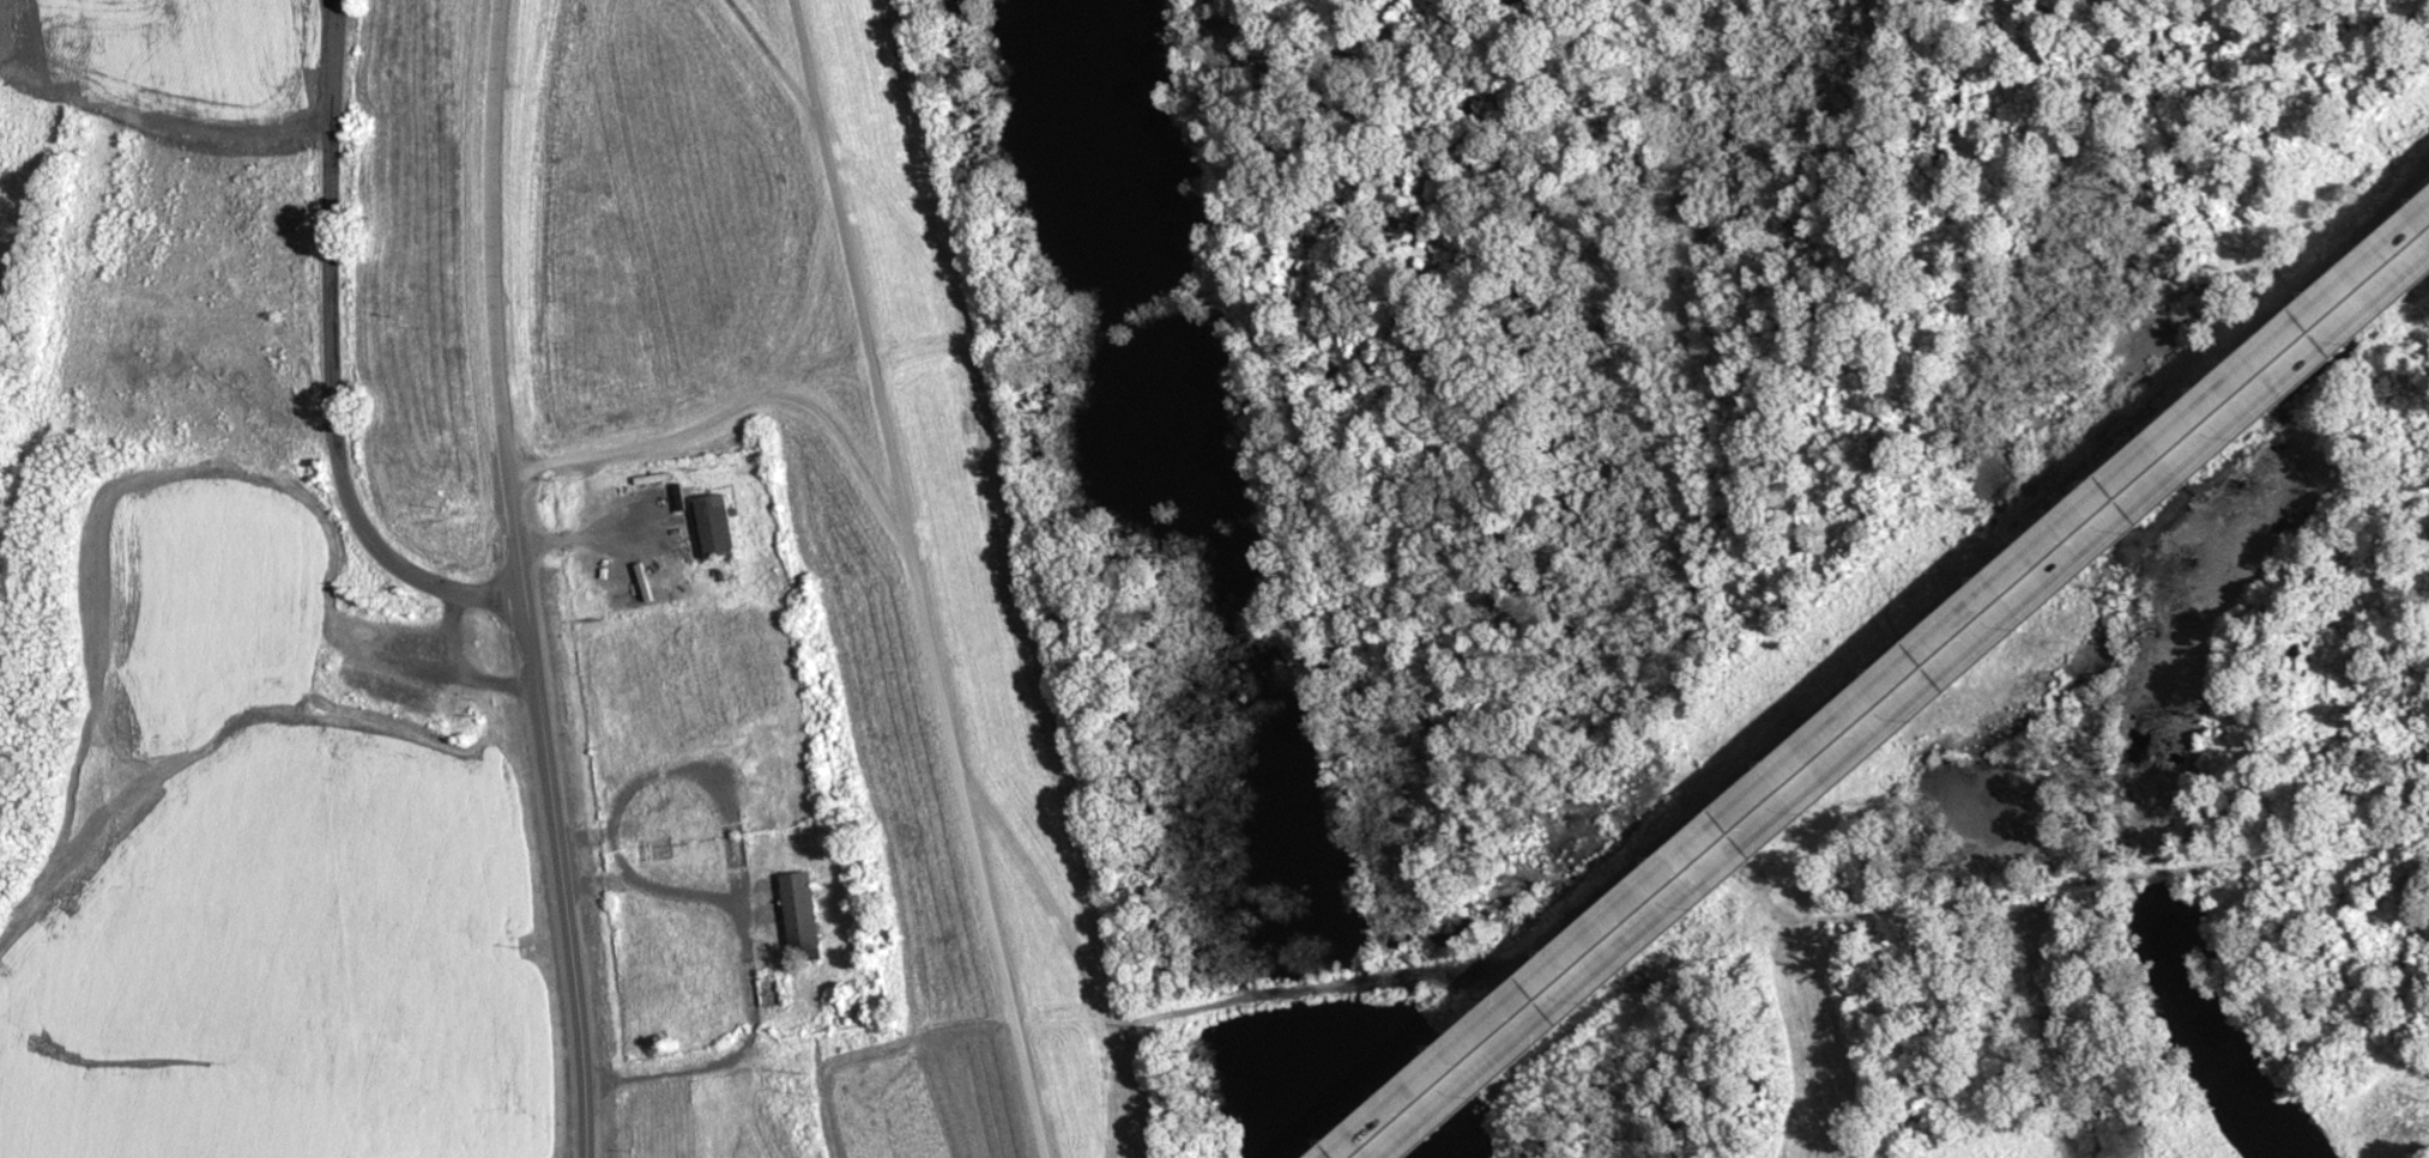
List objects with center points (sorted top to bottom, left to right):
road: (823, 74)
building: (2393, 274)
road: (332, 356)
road: (749, 399)
building: (2242, 420)
building: (709, 531)
road: (918, 564)
road: (516, 580)
road: (1883, 689)
road: (1909, 710)
building: (1813, 775)
building: (797, 918)
road: (1706, 933)
building: (769, 996)
building: (1523, 1020)

